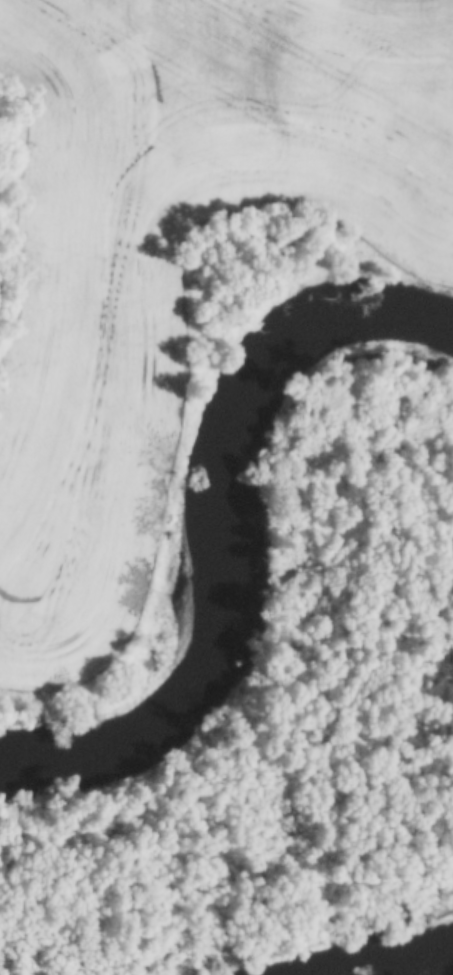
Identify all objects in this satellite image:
river: (222, 529)
river: (370, 950)

